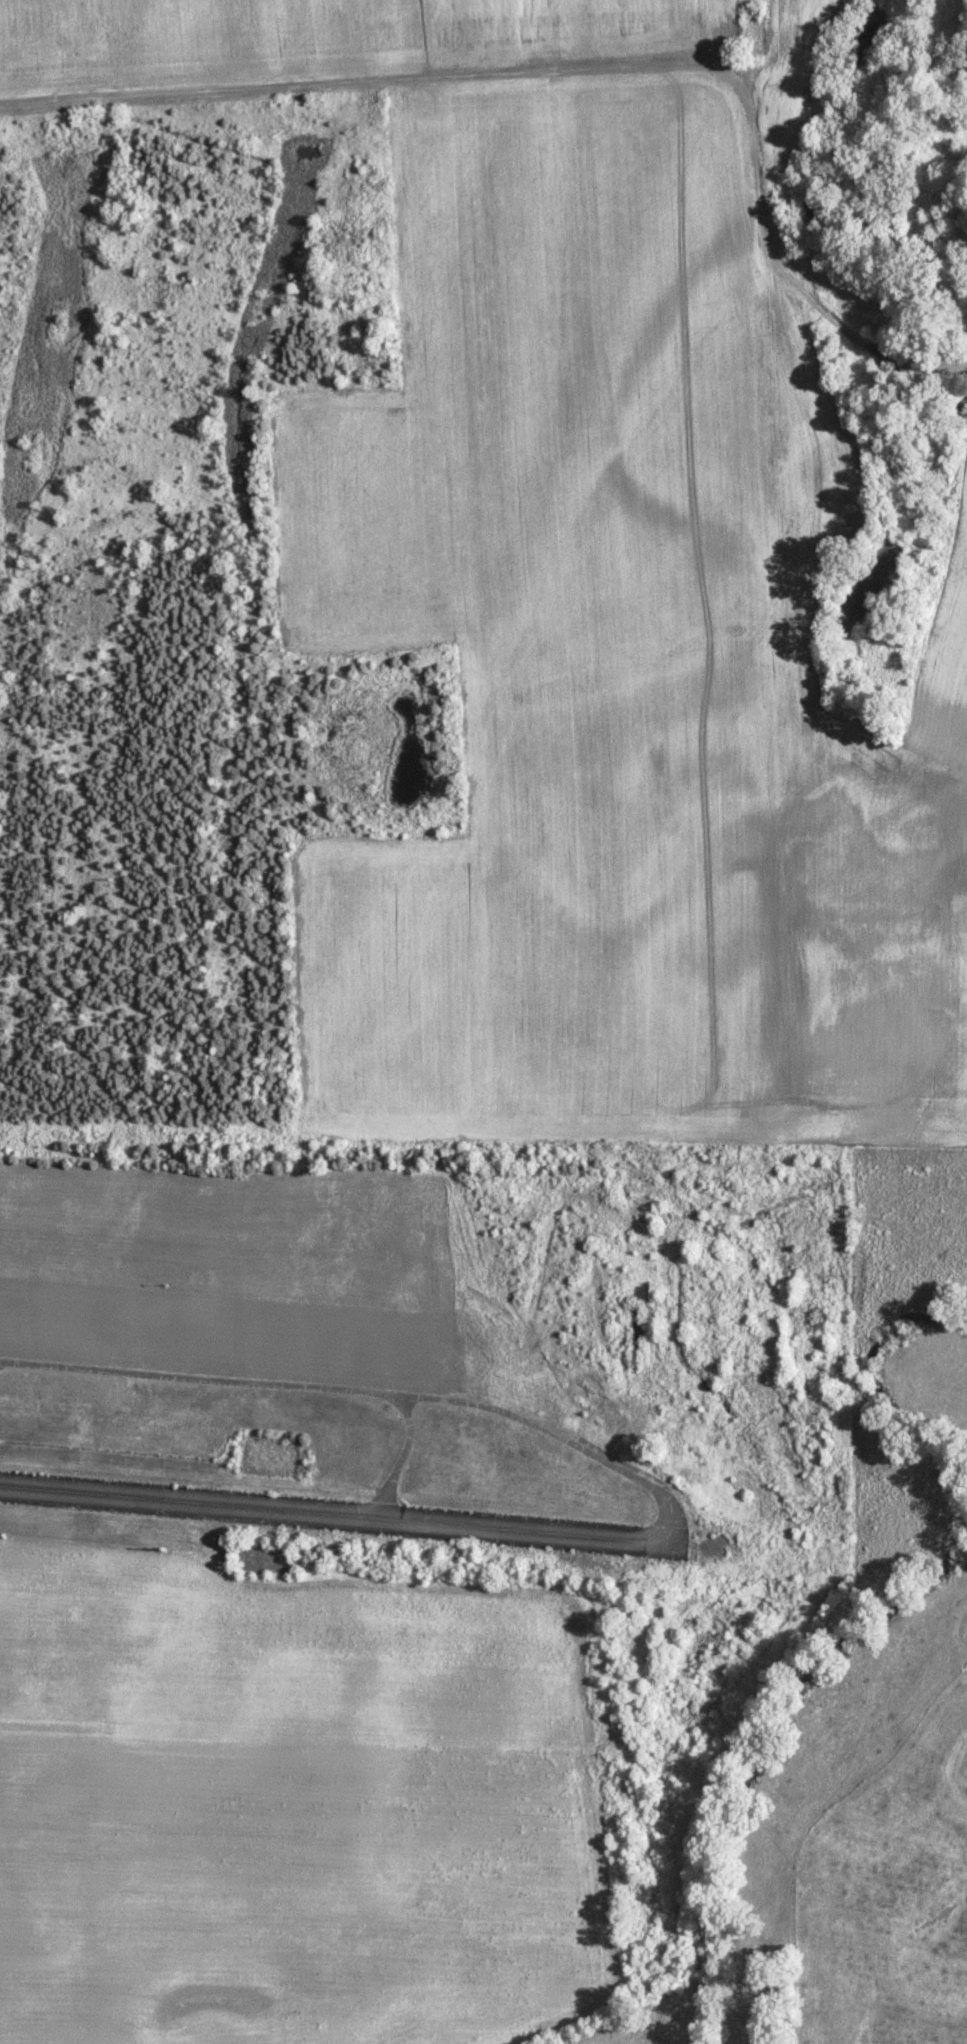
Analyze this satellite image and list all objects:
road: (366, 1394)
road: (402, 1456)
raceway: (341, 1513)

